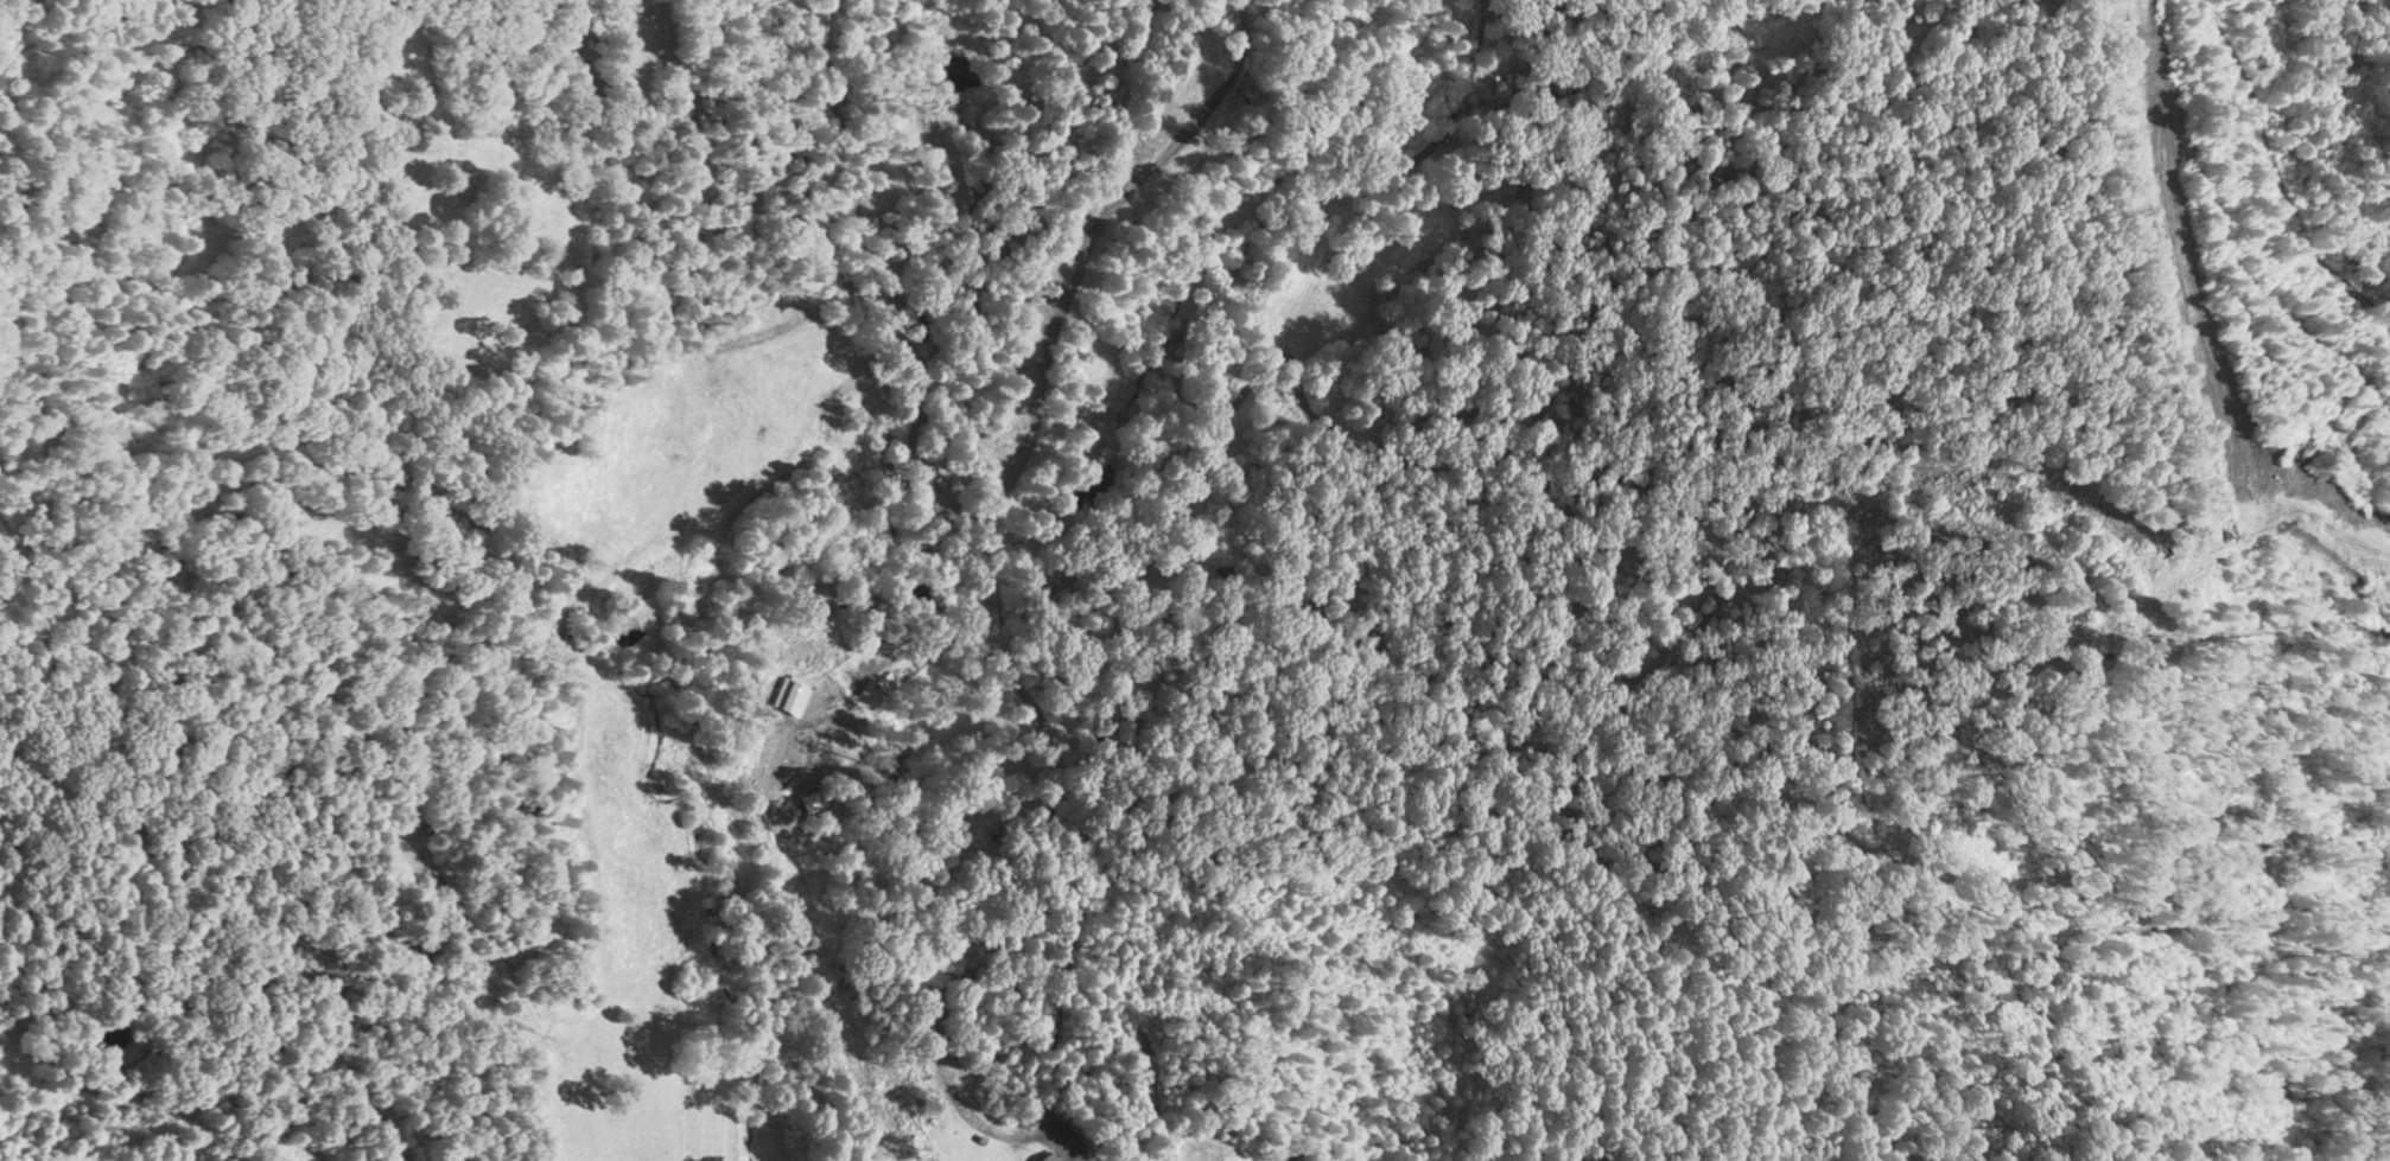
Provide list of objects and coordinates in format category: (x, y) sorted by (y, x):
building: (794, 697)
building: (813, 803)
building: (1026, 1118)
road: (1063, 1143)

